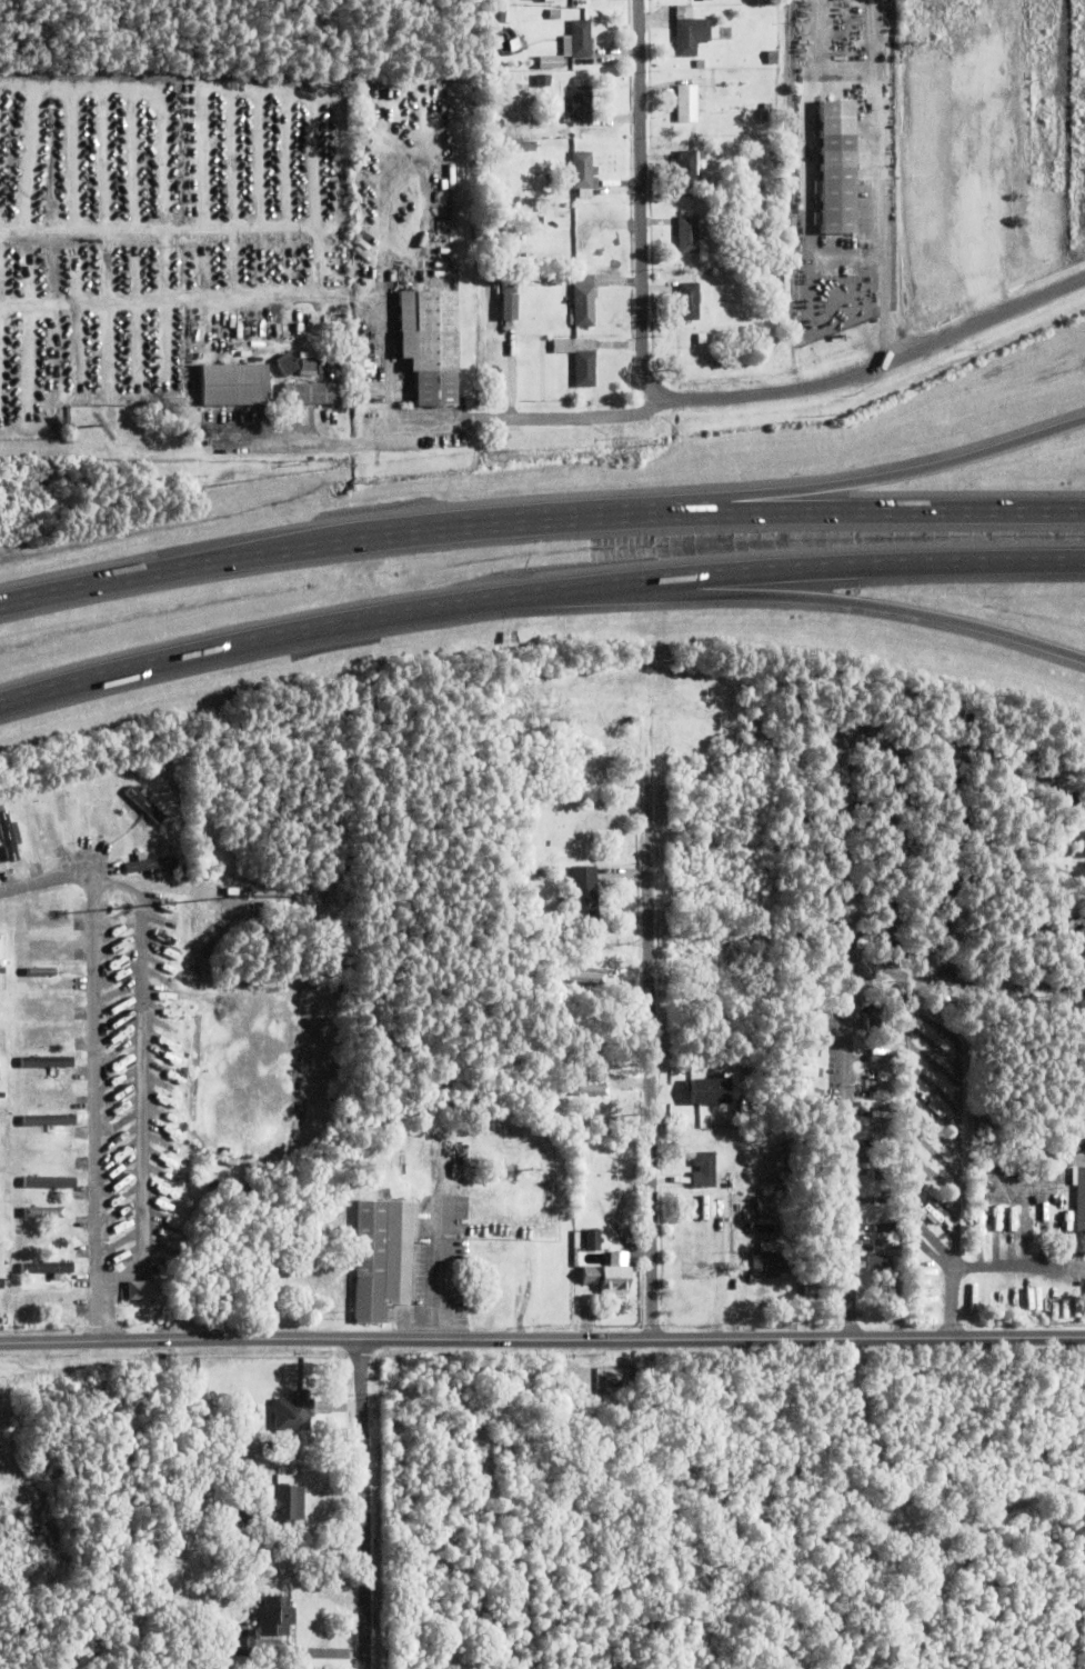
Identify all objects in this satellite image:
building: (539, 0)
building: (706, 1)
building: (508, 16)
building: (691, 32)
building: (579, 41)
building: (773, 58)
building: (553, 61)
building: (701, 64)
building: (543, 81)
road: (850, 83)
building: (582, 104)
building: (687, 104)
building: (767, 113)
building: (498, 124)
building: (521, 147)
building: (739, 151)
building: (810, 162)
building: (687, 169)
building: (551, 173)
building: (582, 176)
building: (451, 178)
building: (837, 187)
building: (496, 198)
building: (513, 201)
building: (538, 211)
road: (88, 230)
building: (429, 232)
building: (690, 234)
building: (750, 239)
building: (510, 256)
building: (509, 286)
building: (584, 302)
building: (689, 302)
building: (512, 307)
building: (702, 340)
building: (430, 348)
building: (563, 348)
building: (310, 361)
building: (287, 367)
building: (585, 370)
building: (233, 388)
building: (308, 397)
road: (683, 398)
road: (439, 428)
road: (856, 480)
road: (539, 514)
road: (785, 594)
road: (536, 596)
building: (609, 677)
building: (619, 741)
building: (589, 753)
road: (956, 758)
building: (144, 800)
building: (89, 804)
building: (7, 833)
building: (1078, 839)
building: (592, 855)
building: (151, 862)
building: (180, 870)
building: (584, 892)
building: (48, 912)
road: (951, 926)
building: (0, 938)
building: (609, 953)
building: (726, 958)
building: (2, 961)
building: (811, 970)
building: (697, 971)
building: (581, 977)
building: (616, 978)
building: (810, 987)
building: (47, 999)
road: (651, 1000)
building: (805, 1008)
building: (877, 1023)
building: (804, 1030)
building: (0, 1035)
road: (109, 1049)
building: (805, 1049)
building: (881, 1053)
building: (47, 1059)
building: (604, 1069)
building: (806, 1069)
road: (154, 1079)
building: (585, 1090)
building: (699, 1090)
building: (808, 1091)
building: (599, 1099)
building: (745, 1103)
building: (709, 1115)
building: (620, 1116)
road: (843, 1117)
building: (49, 1118)
building: (976, 1125)
road: (948, 1148)
building: (987, 1152)
building: (413, 1153)
building: (703, 1168)
building: (1013, 1170)
building: (884, 1173)
building: (549, 1178)
building: (676, 1179)
building: (46, 1182)
building: (784, 1182)
building: (135, 1191)
building: (1079, 1195)
building: (760, 1203)
building: (992, 1218)
building: (885, 1226)
building: (783, 1229)
building: (593, 1238)
building: (884, 1242)
building: (382, 1255)
building: (770, 1261)
building: (880, 1261)
building: (44, 1267)
building: (699, 1270)
road: (435, 1271)
building: (606, 1276)
building: (1076, 1289)
building: (135, 1290)
building: (50, 1297)
building: (1, 1309)
road: (542, 1338)
building: (610, 1380)
building: (292, 1410)
building: (253, 1416)
building: (233, 1442)
road: (364, 1503)
building: (284, 1507)
building: (241, 1511)
building: (265, 1622)
building: (181, 1659)

